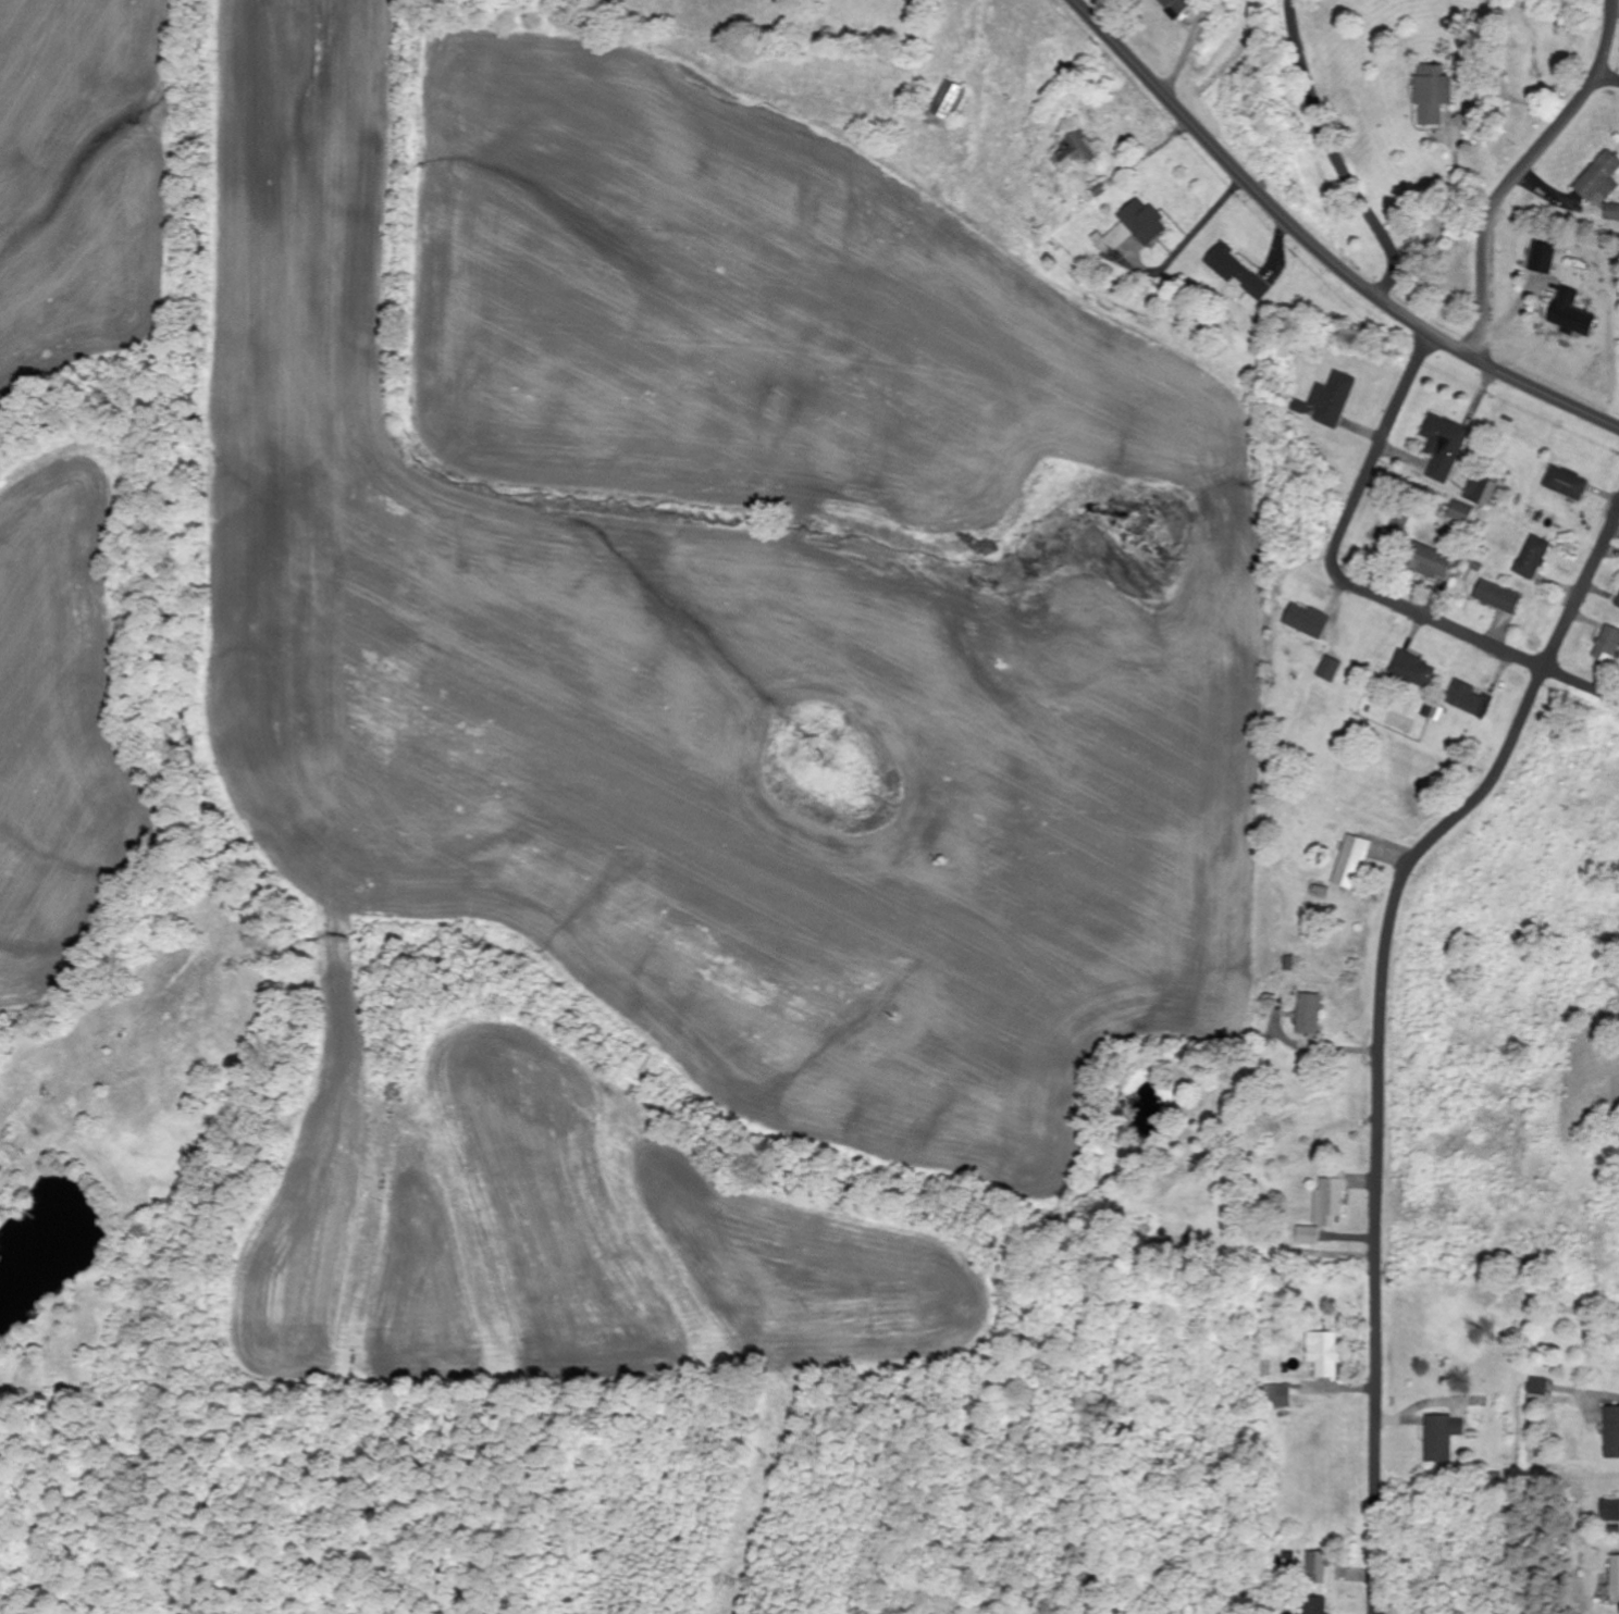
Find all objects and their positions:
building: (1177, 8)
road: (1609, 75)
building: (1431, 94)
building: (948, 104)
building: (1077, 149)
road: (1333, 151)
road: (1521, 167)
building: (1599, 177)
building: (1611, 213)
building: (1135, 227)
road: (1323, 246)
building: (1231, 266)
building: (1332, 399)
building: (1444, 446)
building: (1559, 479)
building: (1481, 491)
building: (1461, 512)
building: (1532, 563)
building: (1433, 564)
road: (1357, 582)
building: (1500, 597)
building: (1609, 646)
building: (1332, 669)
building: (1414, 669)
building: (1468, 698)
building: (1354, 862)
building: (1312, 1015)
road: (1383, 1032)
building: (0, 1168)
building: (1332, 1201)
building: (1310, 1237)
building: (1325, 1354)
building: (1537, 1391)
building: (1281, 1396)
building: (1612, 1431)
building: (1441, 1438)
building: (1610, 1512)
building: (1615, 1578)
building: (1318, 1606)

